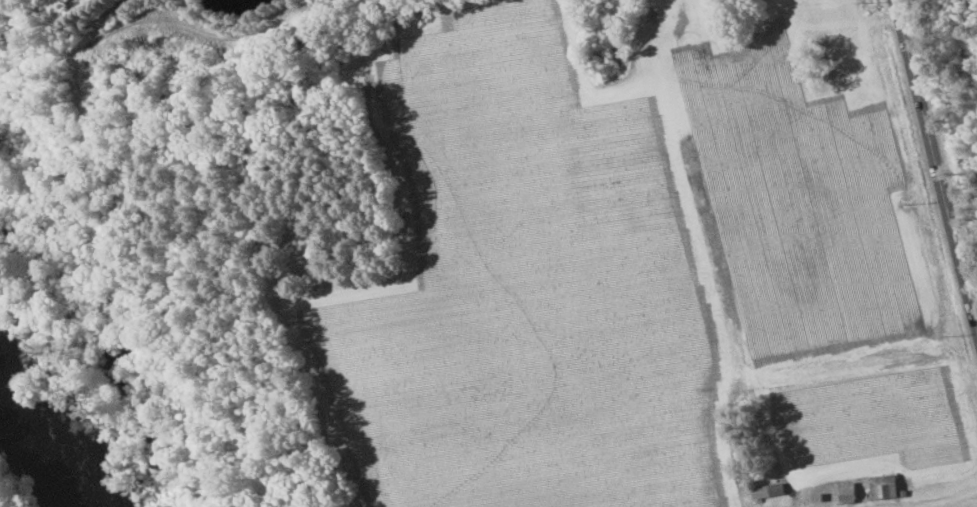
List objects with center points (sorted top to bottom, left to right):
road: (929, 169)
river: (49, 438)
building: (883, 485)
building: (767, 490)
road: (953, 496)

